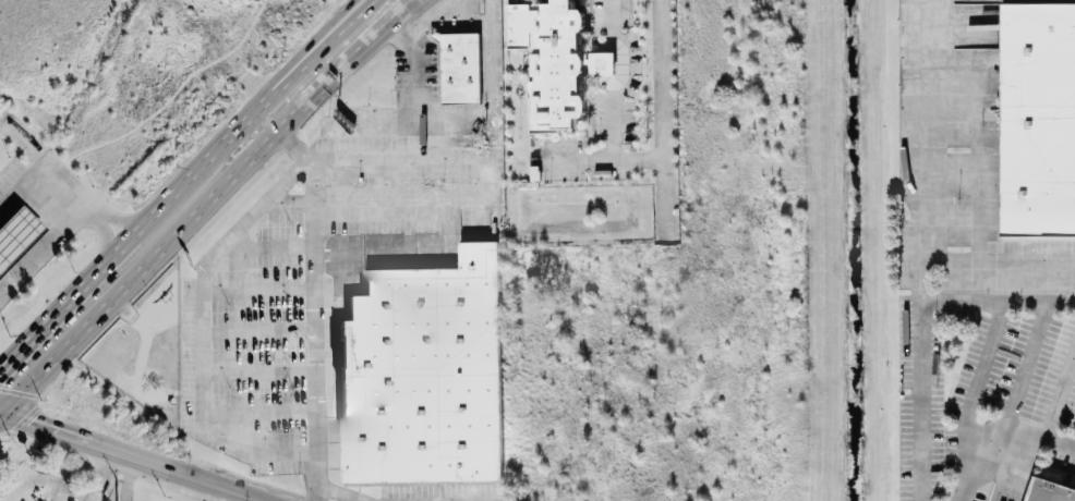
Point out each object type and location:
road: (464, 12)
road: (322, 36)
road: (334, 37)
building: (548, 61)
building: (601, 63)
road: (342, 64)
building: (458, 69)
road: (307, 75)
building: (1036, 121)
road: (464, 125)
road: (290, 146)
road: (919, 148)
road: (212, 155)
road: (633, 162)
road: (578, 164)
road: (41, 184)
road: (425, 184)
road: (388, 185)
road: (346, 186)
road: (291, 200)
road: (454, 213)
road: (116, 217)
building: (16, 231)
gas station: (16, 231)
road: (101, 232)
road: (331, 246)
road: (46, 248)
road: (999, 260)
road: (200, 266)
road: (137, 272)
road: (255, 289)
road: (65, 304)
road: (321, 318)
road: (922, 322)
road: (255, 331)
road: (1026, 366)
road: (256, 371)
road: (981, 372)
building: (423, 376)
road: (1061, 399)
road: (0, 412)
road: (0, 413)
traffic signals: (1, 413)
road: (256, 418)
road: (999, 435)
road: (83, 439)
road: (99, 474)
road: (124, 477)
road: (46, 481)
road: (218, 484)
road: (322, 491)
road: (343, 491)
building: (1042, 491)

